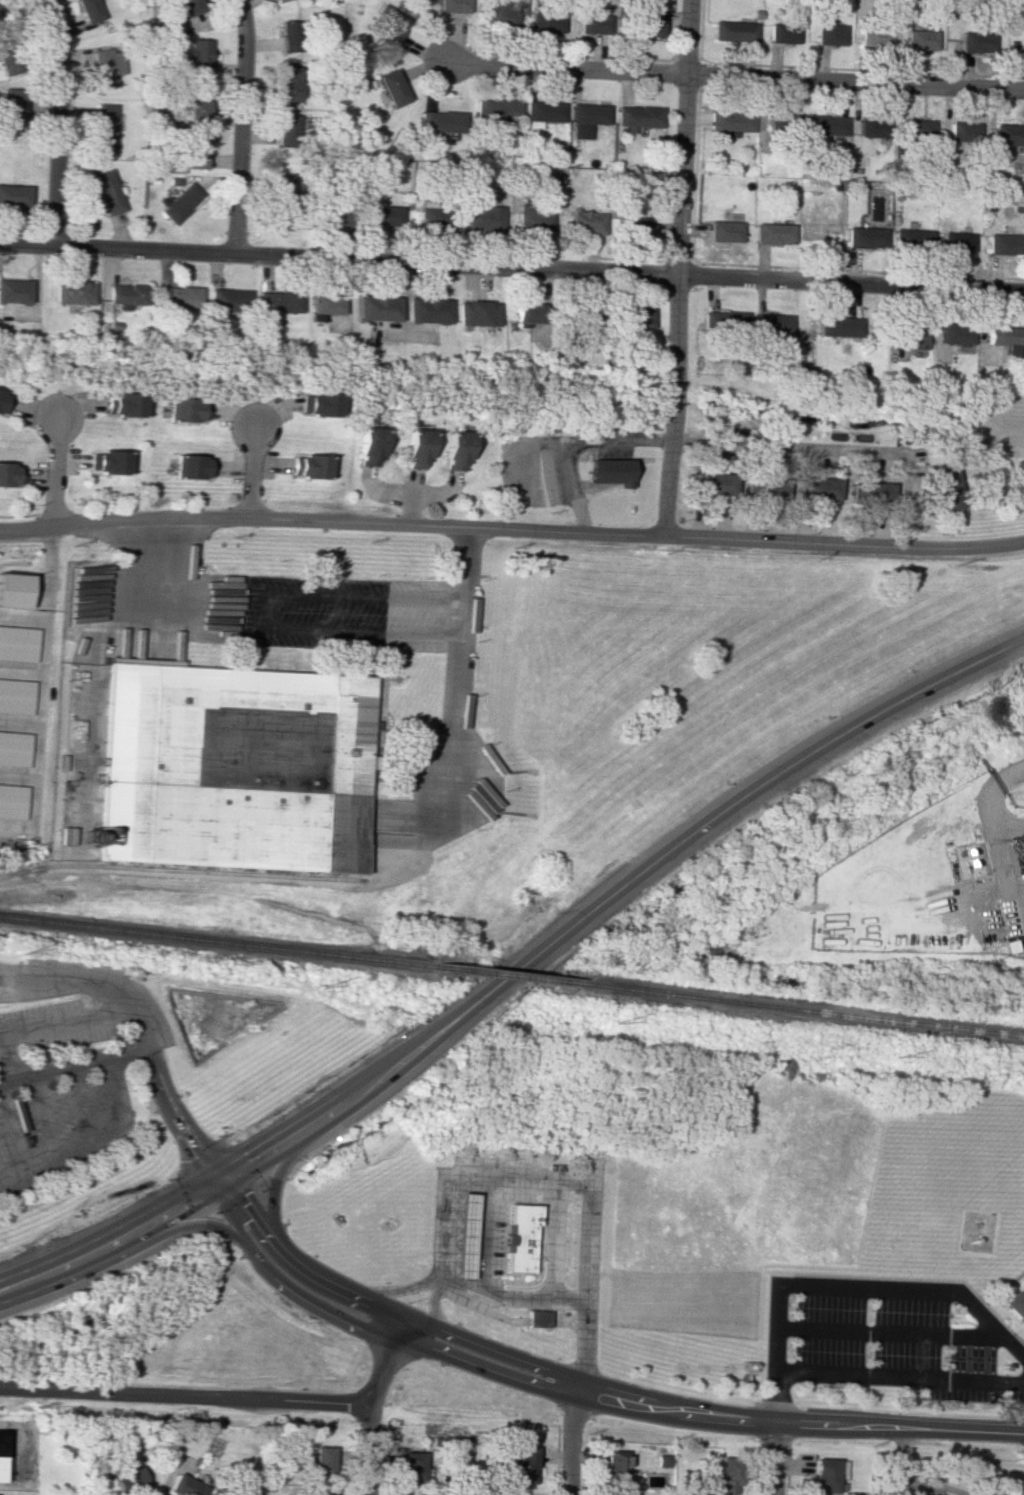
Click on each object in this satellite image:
building: (278, 0)
building: (454, 6)
building: (189, 7)
building: (89, 10)
building: (502, 12)
building: (546, 22)
building: (389, 24)
building: (594, 24)
building: (648, 26)
building: (735, 31)
building: (784, 32)
building: (831, 34)
building: (290, 36)
building: (875, 37)
building: (922, 40)
building: (977, 41)
building: (197, 58)
building: (8, 59)
building: (107, 66)
road: (566, 66)
road: (855, 80)
building: (290, 82)
building: (392, 88)
building: (197, 104)
building: (11, 107)
building: (497, 109)
building: (542, 113)
building: (637, 117)
road: (58, 118)
building: (586, 119)
building: (441, 121)
building: (730, 122)
building: (783, 123)
building: (828, 125)
road: (240, 126)
building: (873, 127)
building: (104, 128)
building: (917, 129)
building: (287, 130)
building: (964, 131)
building: (1008, 134)
building: (194, 150)
building: (108, 191)
building: (14, 196)
building: (181, 203)
building: (432, 212)
building: (386, 215)
building: (339, 216)
building: (484, 217)
building: (534, 220)
building: (586, 222)
building: (635, 227)
building: (722, 231)
building: (774, 233)
building: (866, 237)
building: (913, 239)
building: (957, 242)
building: (1006, 243)
road: (337, 258)
road: (676, 267)
road: (850, 282)
building: (14, 290)
building: (72, 292)
building: (128, 295)
building: (178, 296)
building: (229, 300)
building: (279, 301)
building: (326, 303)
building: (378, 308)
building: (429, 310)
building: (527, 311)
building: (478, 313)
building: (636, 318)
building: (722, 321)
building: (770, 324)
building: (838, 326)
building: (955, 334)
building: (1003, 337)
building: (913, 338)
building: (3, 403)
building: (121, 404)
building: (315, 404)
building: (182, 409)
parking lot: (620, 429)
road: (524, 444)
road: (574, 445)
building: (367, 446)
building: (415, 448)
road: (832, 449)
building: (455, 450)
building: (106, 462)
building: (189, 466)
building: (307, 466)
parking lot: (531, 470)
road: (53, 471)
building: (608, 471)
road: (247, 473)
building: (8, 474)
building: (713, 483)
building: (818, 488)
building: (945, 488)
building: (763, 489)
building: (870, 491)
road: (331, 522)
road: (844, 542)
road: (145, 556)
road: (47, 573)
building: (13, 590)
road: (267, 610)
parking lot: (344, 613)
road: (22, 617)
building: (18, 643)
building: (16, 696)
road: (453, 726)
road: (38, 741)
building: (14, 748)
building: (233, 768)
building: (11, 801)
road: (989, 804)
railway: (181, 869)
road: (1003, 875)
road: (612, 895)
railway: (214, 940)
power tower: (19, 953)
railway: (502, 974)
road: (74, 976)
power tower: (315, 989)
railway: (799, 1010)
road: (87, 1019)
power tower: (615, 1019)
parking lot: (47, 1025)
power tower: (894, 1053)
road: (9, 1056)
road: (73, 1065)
road: (110, 1097)
road: (80, 1108)
road: (179, 1119)
parking lot: (56, 1120)
road: (43, 1121)
road: (10, 1144)
road: (60, 1164)
road: (266, 1176)
traffic signals: (223, 1183)
road: (186, 1219)
road: (439, 1235)
building: (460, 1236)
gas station: (460, 1236)
building: (519, 1237)
road: (112, 1240)
road: (555, 1241)
road: (481, 1281)
road: (587, 1285)
road: (918, 1291)
road: (391, 1293)
building: (1016, 1304)
road: (383, 1310)
road: (430, 1312)
building: (536, 1318)
road: (369, 1329)
road: (888, 1331)
building: (1022, 1339)
parking lot: (897, 1349)
road: (777, 1356)
road: (385, 1360)
road: (900, 1378)
road: (185, 1395)
road: (798, 1428)
road: (567, 1440)
road: (369, 1448)
building: (2, 1449)
building: (323, 1460)
road: (772, 1461)
building: (414, 1467)
building: (619, 1470)
building: (728, 1475)
building: (825, 1475)
building: (129, 1480)
building: (186, 1486)
building: (320, 1494)
building: (930, 1494)

